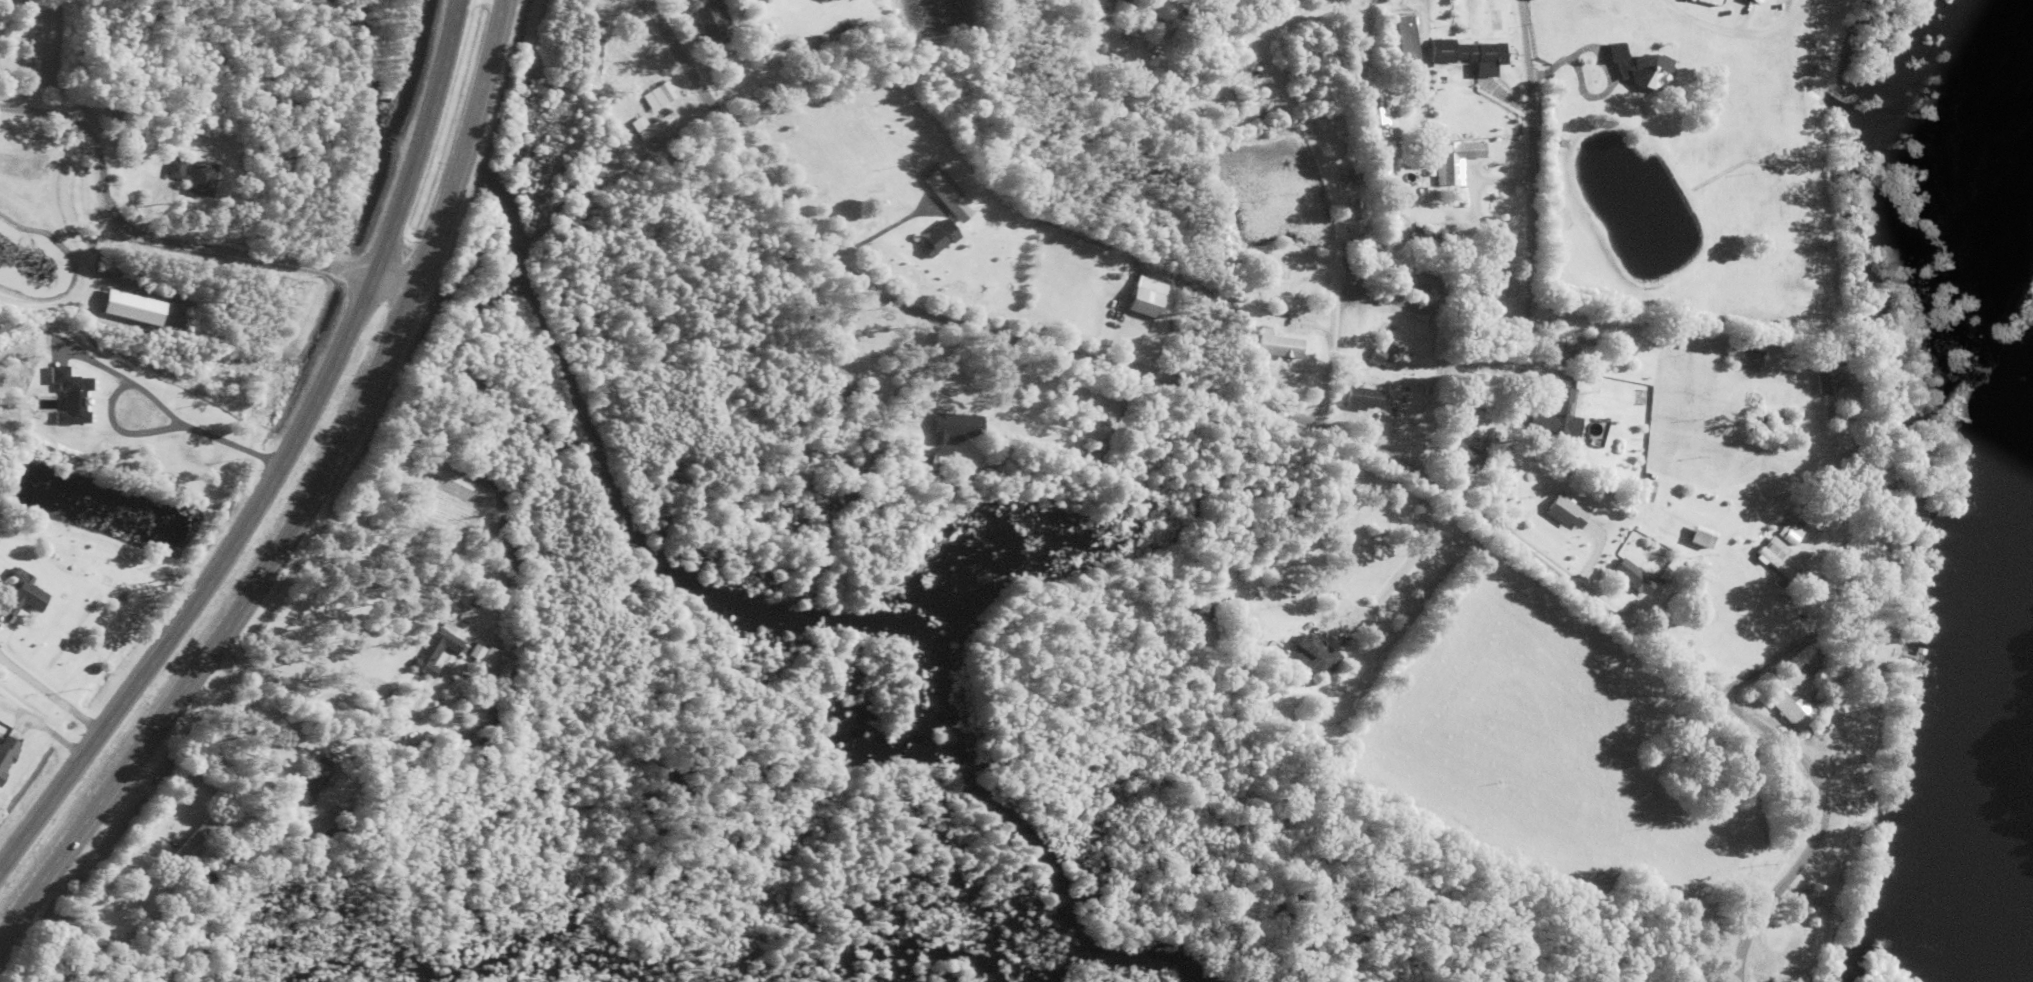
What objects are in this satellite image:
building: (1705, 1)
building: (1750, 1)
road: (1735, 31)
building: (1399, 36)
building: (1464, 54)
building: (1635, 66)
building: (1374, 112)
building: (1450, 160)
road: (148, 231)
road: (1527, 261)
road: (393, 271)
building: (1490, 282)
building: (1138, 296)
building: (1272, 344)
building: (1551, 353)
building: (1377, 354)
building: (1740, 355)
building: (1823, 373)
building: (1358, 397)
building: (1553, 415)
road: (1327, 420)
building: (1460, 454)
road: (279, 458)
building: (1643, 490)
road: (308, 496)
building: (1561, 511)
building: (1907, 512)
building: (1785, 532)
building: (1695, 536)
building: (1769, 555)
building: (1628, 575)
river: (1983, 587)
road: (1846, 605)
building: (1310, 654)
building: (1790, 698)
river: (1956, 856)

